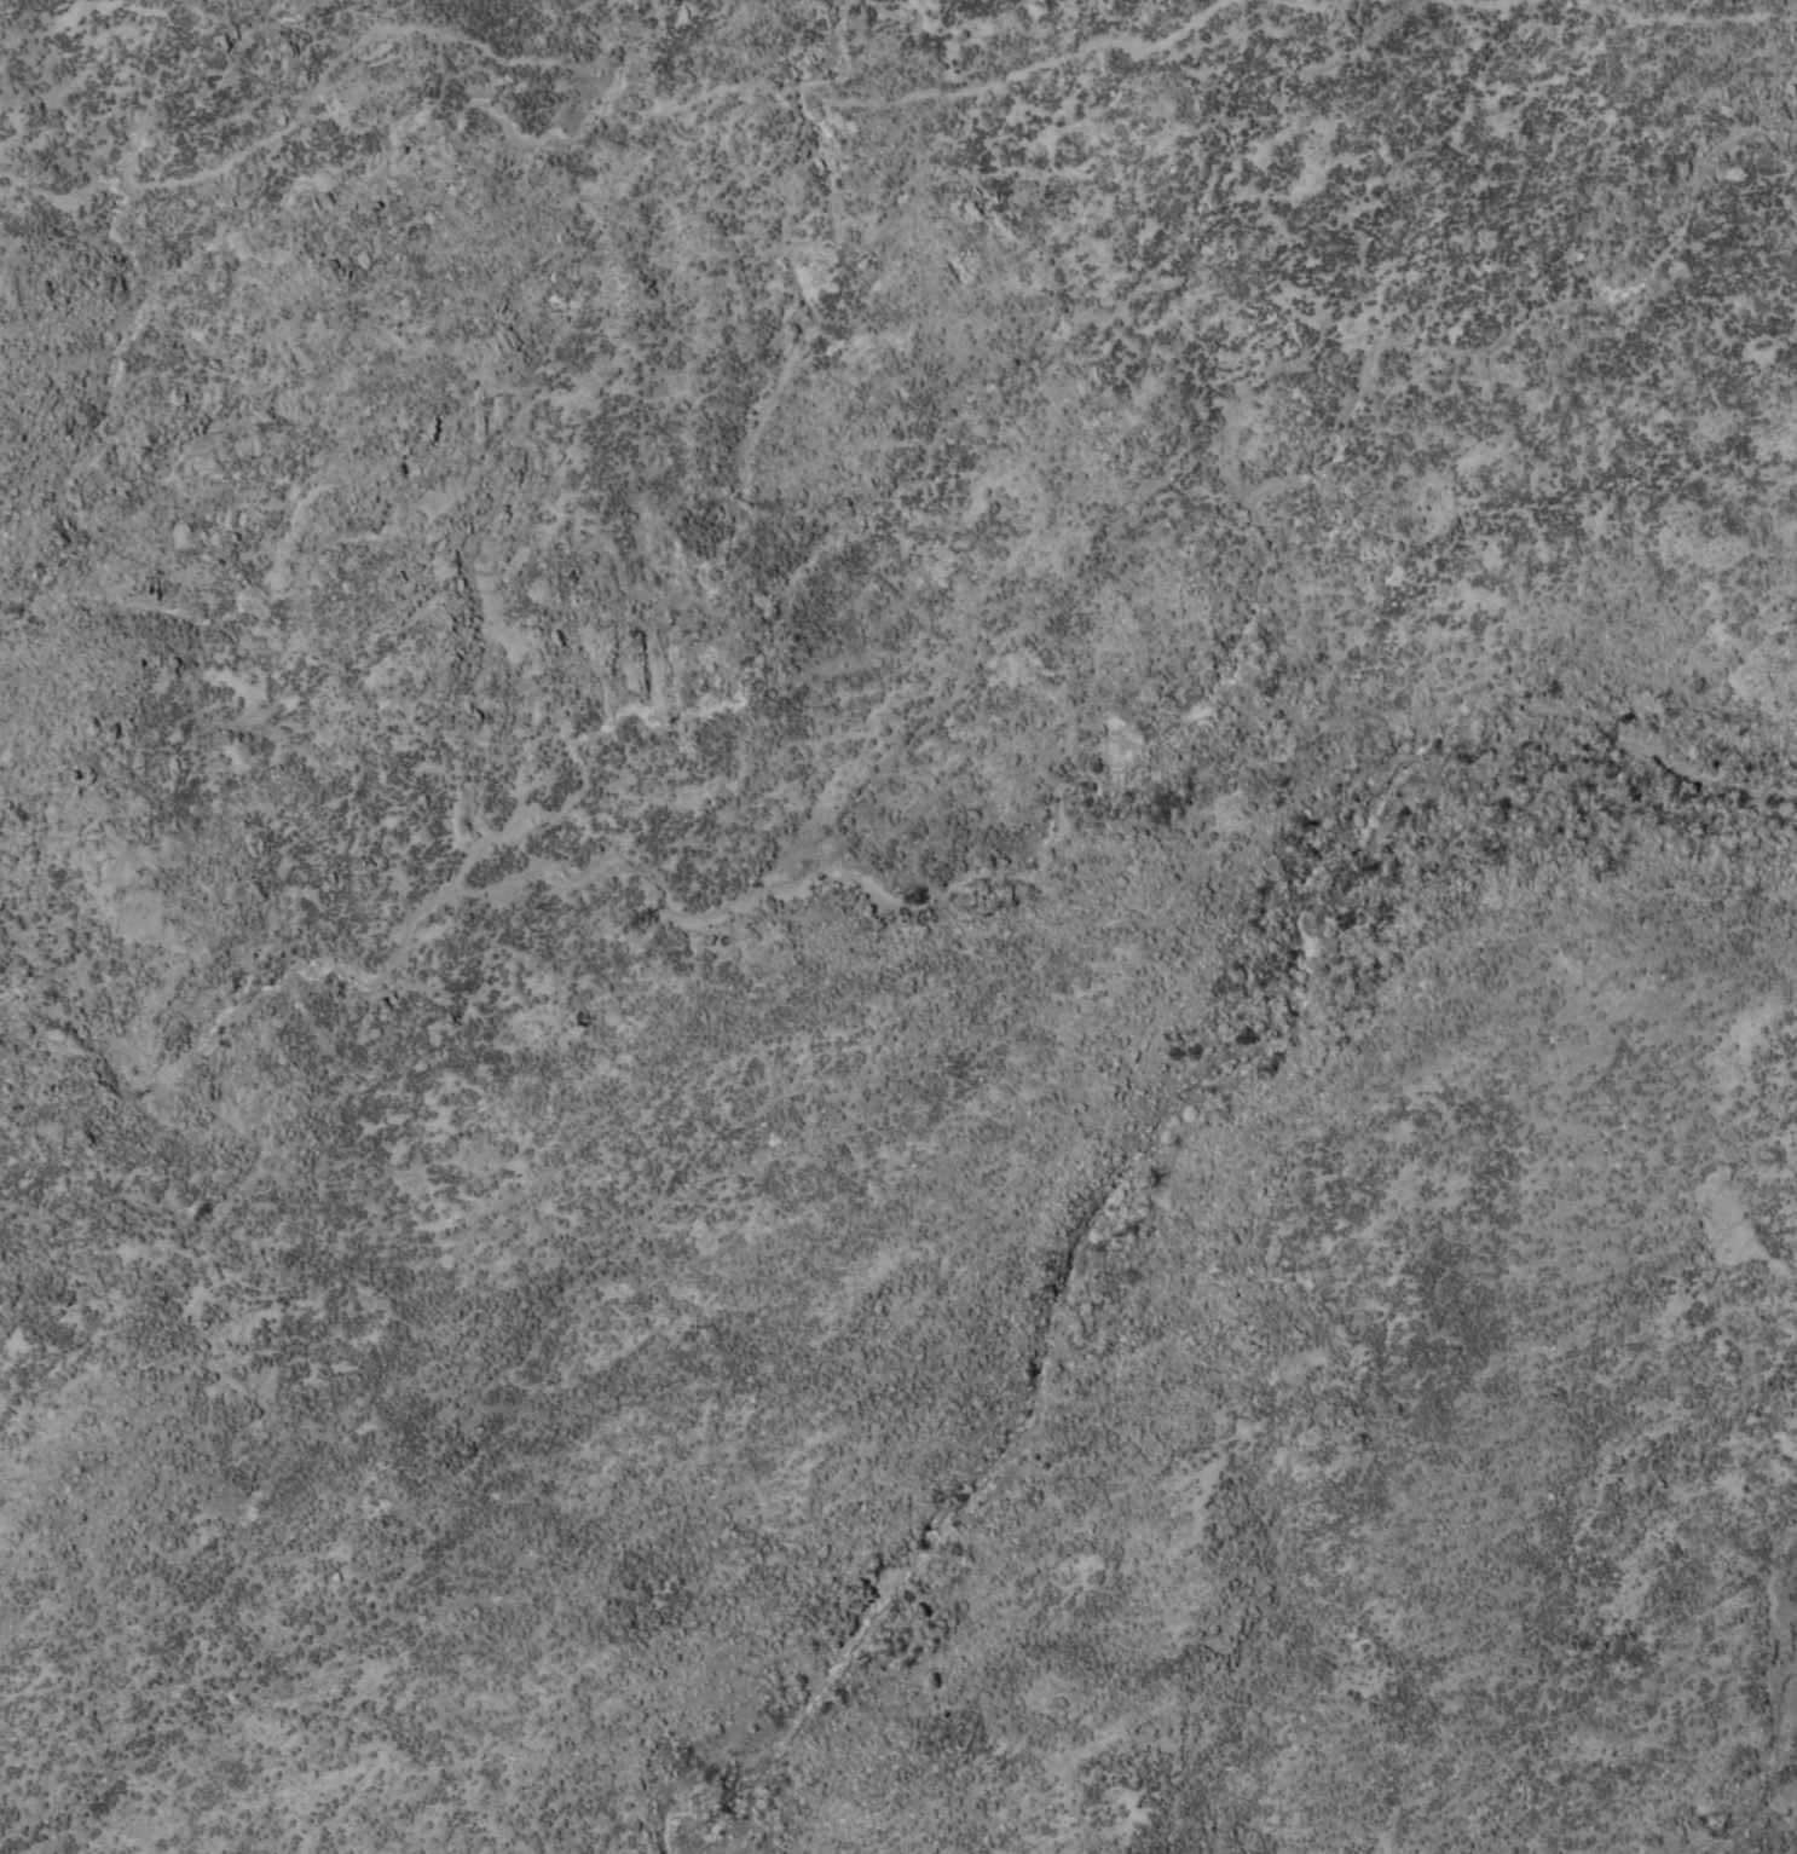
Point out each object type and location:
road: (1339, 11)
road: (1697, 17)
road: (593, 86)

